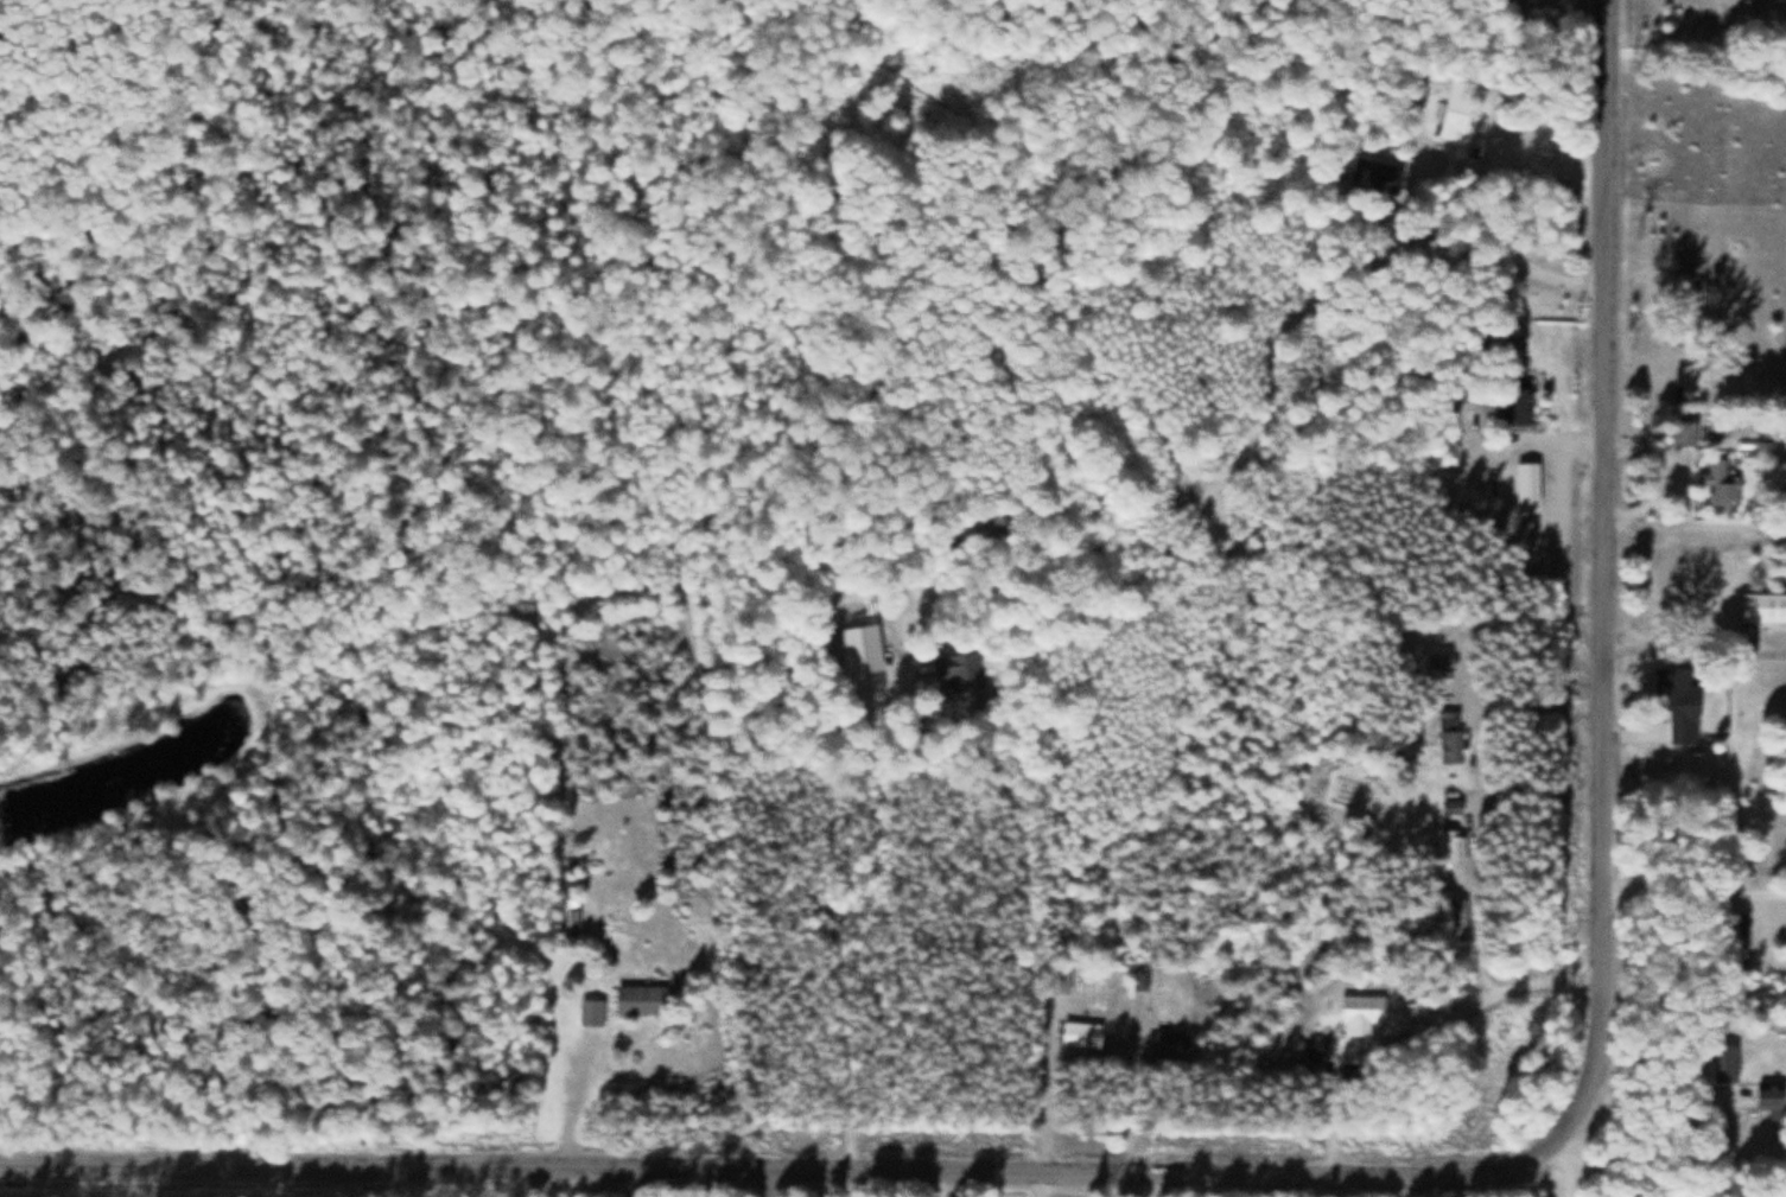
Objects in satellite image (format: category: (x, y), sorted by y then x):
park: (1708, 25)
building: (1456, 110)
road: (1507, 246)
building: (1690, 308)
building: (1683, 380)
building: (1511, 406)
building: (1683, 432)
building: (1718, 476)
building: (1525, 483)
building: (1762, 606)
building: (857, 648)
building: (1439, 658)
building: (955, 669)
building: (1677, 700)
building: (1448, 717)
building: (1449, 744)
road: (1536, 790)
building: (1451, 804)
building: (1451, 845)
building: (1455, 918)
building: (572, 923)
road: (838, 923)
building: (1139, 976)
building: (1057, 981)
road: (1532, 982)
building: (637, 999)
building: (590, 1011)
building: (1361, 1012)
building: (1081, 1033)
building: (1171, 1040)
building: (1722, 1062)
building: (1766, 1094)
road: (1361, 1176)

